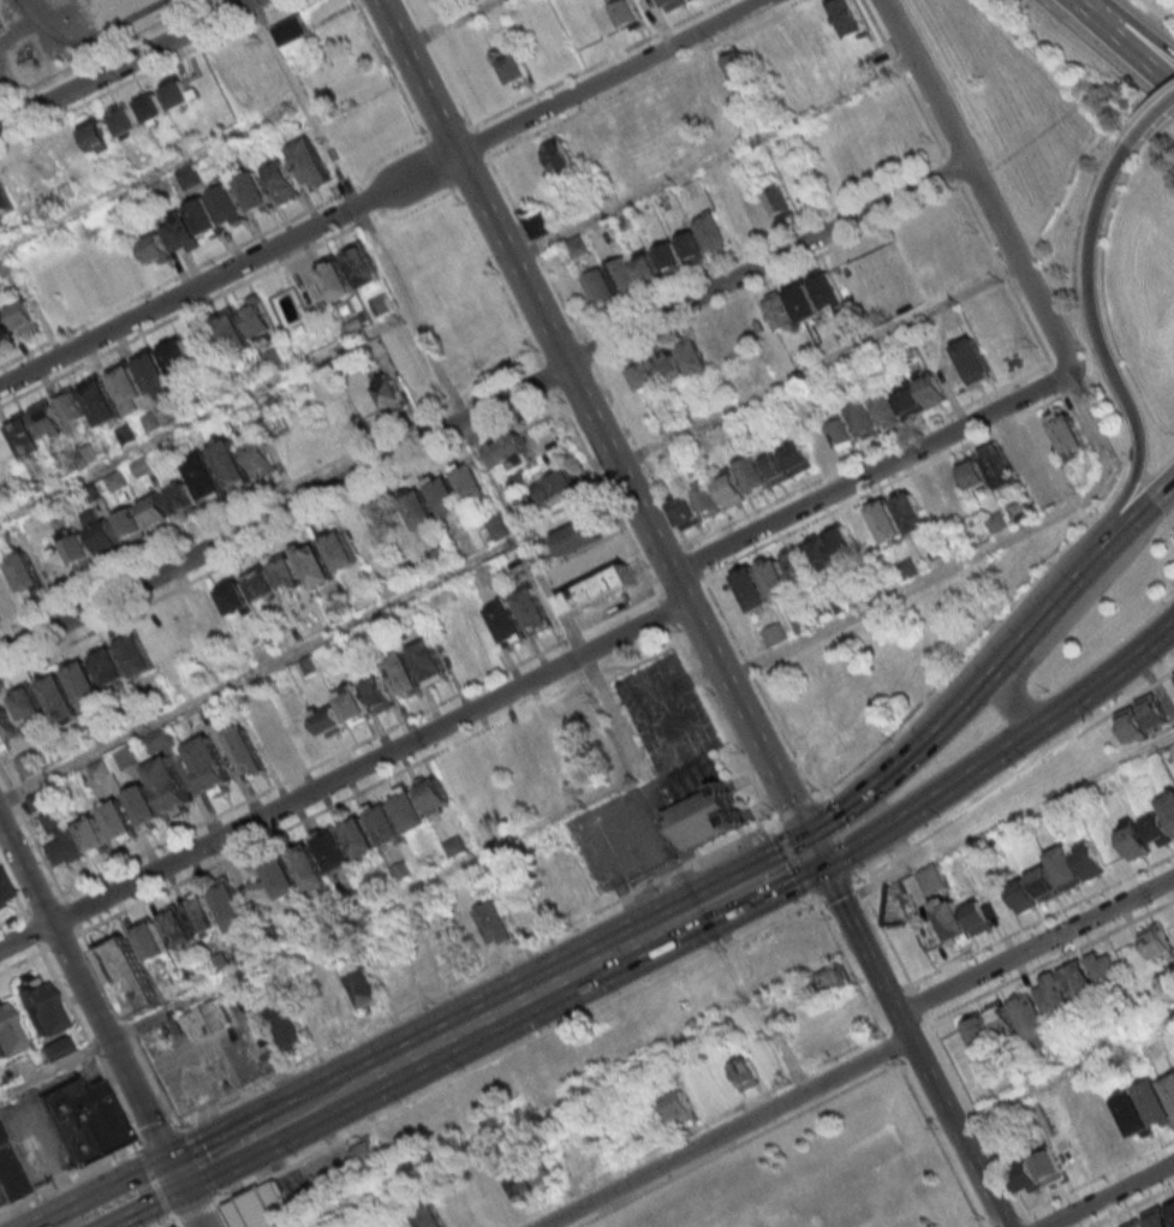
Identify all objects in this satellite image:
building: (693, 0)
building: (675, 4)
road: (1079, 8)
building: (627, 13)
building: (856, 18)
road: (451, 24)
building: (292, 31)
road: (1132, 35)
road: (1131, 54)
road: (111, 55)
road: (129, 64)
building: (737, 65)
road: (156, 67)
building: (516, 70)
road: (392, 71)
road: (908, 84)
building: (177, 93)
building: (151, 107)
road: (1152, 112)
building: (124, 120)
building: (96, 135)
building: (560, 155)
road: (716, 157)
building: (311, 163)
road: (442, 165)
building: (538, 166)
road: (151, 177)
building: (190, 177)
building: (282, 181)
road: (989, 191)
building: (255, 192)
road: (383, 192)
building: (5, 202)
building: (780, 203)
building: (230, 207)
building: (205, 219)
building: (536, 222)
building: (711, 233)
building: (183, 234)
building: (577, 246)
building: (691, 249)
building: (155, 250)
building: (669, 260)
building: (360, 266)
building: (6, 267)
building: (871, 269)
road: (1005, 269)
building: (646, 270)
building: (846, 276)
building: (622, 279)
building: (334, 280)
building: (824, 290)
building: (601, 291)
building: (803, 302)
building: (780, 312)
building: (24, 317)
building: (257, 318)
building: (5, 328)
road: (419, 330)
building: (845, 332)
building: (233, 333)
building: (735, 333)
building: (714, 346)
building: (904, 347)
building: (178, 359)
building: (273, 359)
building: (691, 359)
building: (972, 362)
building: (666, 364)
road: (822, 365)
road: (1112, 373)
building: (644, 375)
building: (155, 376)
road: (1069, 379)
building: (129, 391)
building: (931, 392)
road: (1071, 393)
building: (388, 394)
road: (558, 397)
building: (102, 404)
building: (910, 404)
building: (363, 405)
building: (72, 406)
road: (487, 407)
building: (884, 410)
road: (205, 416)
building: (339, 419)
building: (47, 421)
building: (863, 421)
building: (151, 422)
building: (666, 422)
road: (596, 425)
building: (841, 434)
building: (126, 435)
building: (1066, 436)
building: (26, 439)
building: (1043, 443)
building: (1020, 452)
building: (509, 453)
building: (89, 454)
building: (262, 458)
building: (798, 458)
road: (872, 458)
building: (233, 465)
building: (999, 466)
building: (142, 467)
building: (775, 470)
building: (972, 472)
building: (749, 473)
road: (865, 475)
building: (204, 477)
building: (115, 482)
building: (518, 484)
building: (473, 487)
building: (556, 488)
road: (880, 488)
building: (729, 490)
building: (93, 494)
road: (270, 494)
building: (928, 495)
building: (707, 499)
building: (184, 500)
building: (448, 500)
building: (525, 508)
building: (1019, 511)
building: (156, 512)
building: (422, 512)
building: (686, 512)
building: (910, 514)
building: (887, 523)
building: (995, 523)
building: (131, 526)
building: (495, 526)
building: (102, 535)
road: (279, 537)
building: (578, 540)
building: (840, 540)
building: (78, 550)
road: (687, 550)
building: (344, 553)
building: (818, 555)
building: (439, 559)
road: (667, 559)
road: (970, 559)
road: (696, 562)
building: (797, 566)
building: (317, 567)
road: (649, 568)
building: (285, 571)
building: (25, 573)
building: (489, 576)
building: (775, 579)
building: (264, 586)
road: (692, 586)
building: (752, 590)
building: (600, 591)
building: (239, 600)
road: (1005, 609)
building: (340, 610)
building: (532, 612)
road: (1069, 617)
road: (674, 623)
building: (801, 623)
building: (507, 625)
building: (775, 636)
building: (136, 654)
road: (643, 661)
building: (429, 663)
building: (308, 666)
road: (994, 667)
building: (109, 668)
road: (263, 669)
road: (594, 673)
building: (401, 674)
building: (282, 680)
road: (758, 687)
building: (87, 689)
building: (379, 696)
building: (59, 698)
building: (25, 702)
building: (352, 707)
building: (1151, 711)
building: (589, 713)
building: (329, 722)
building: (1131, 723)
building: (5, 727)
building: (567, 732)
road: (731, 735)
building: (273, 739)
building: (159, 740)
building: (543, 747)
building: (246, 752)
road: (1001, 752)
building: (126, 758)
building: (29, 764)
building: (209, 767)
road: (312, 768)
building: (100, 772)
road: (1015, 776)
road: (345, 779)
road: (4, 780)
building: (169, 787)
road: (12, 794)
building: (434, 796)
building: (42, 799)
building: (1166, 803)
building: (705, 804)
road: (329, 806)
building: (144, 809)
building: (410, 810)
road: (794, 811)
building: (119, 822)
building: (385, 823)
building: (1155, 828)
building: (91, 835)
building: (359, 836)
road: (836, 836)
building: (62, 838)
building: (1132, 840)
building: (454, 847)
building: (333, 850)
traffic signals: (816, 851)
road: (38, 853)
building: (1087, 859)
building: (1063, 863)
road: (794, 864)
building: (308, 865)
road: (785, 866)
building: (401, 872)
building: (282, 878)
building: (930, 878)
building: (1043, 883)
building: (260, 889)
road: (834, 889)
building: (4, 891)
road: (12, 893)
building: (1023, 895)
building: (350, 899)
road: (38, 903)
road: (377, 905)
building: (232, 909)
road: (67, 913)
building: (201, 915)
road: (13, 917)
building: (977, 917)
building: (950, 918)
road: (1042, 918)
building: (497, 925)
road: (76, 928)
building: (178, 930)
road: (882, 930)
road: (30, 931)
building: (1155, 940)
road: (59, 942)
building: (150, 943)
road: (37, 947)
road: (1037, 947)
building: (245, 953)
road: (23, 959)
road: (1045, 960)
building: (220, 966)
road: (848, 967)
building: (1106, 971)
road: (476, 976)
building: (130, 977)
building: (195, 978)
building: (829, 981)
building: (1079, 984)
road: (905, 985)
road: (911, 987)
building: (365, 990)
road: (887, 991)
road: (90, 994)
building: (342, 997)
road: (757, 999)
road: (870, 999)
building: (1053, 999)
road: (918, 1002)
building: (37, 1005)
road: (503, 1009)
building: (1000, 1017)
building: (208, 1021)
building: (1030, 1021)
road: (896, 1025)
road: (913, 1026)
building: (288, 1028)
road: (131, 1029)
building: (978, 1032)
building: (7, 1034)
road: (911, 1038)
road: (90, 1044)
building: (56, 1048)
road: (890, 1048)
building: (1152, 1048)
road: (512, 1050)
building: (764, 1054)
road: (911, 1054)
road: (1065, 1072)
building: (1169, 1088)
building: (711, 1089)
building: (1155, 1102)
road: (975, 1112)
building: (1133, 1112)
building: (88, 1119)
road: (693, 1127)
road: (156, 1130)
road: (725, 1132)
road: (139, 1139)
road: (136, 1142)
road: (739, 1142)
road: (938, 1143)
road: (136, 1148)
building: (365, 1150)
road: (215, 1154)
road: (198, 1160)
building: (1048, 1167)
traffic signals: (179, 1173)
building: (547, 1174)
building: (1024, 1175)
road: (1095, 1177)
building: (10, 1178)
road: (66, 1178)
building: (519, 1180)
road: (154, 1183)
road: (143, 1191)
building: (496, 1191)
road: (1109, 1195)
road: (192, 1199)
building: (839, 1199)
road: (1130, 1205)
building: (258, 1208)
road: (221, 1209)
road: (197, 1210)
building: (442, 1213)
building: (1161, 1215)
road: (1027, 1216)
road: (89, 1217)
road: (111, 1217)
road: (175, 1219)
road: (172, 1221)
road: (1005, 1221)
building: (628, 1223)
road: (1031, 1223)
building: (1134, 1223)
building: (327, 1225)
road: (990, 1226)

